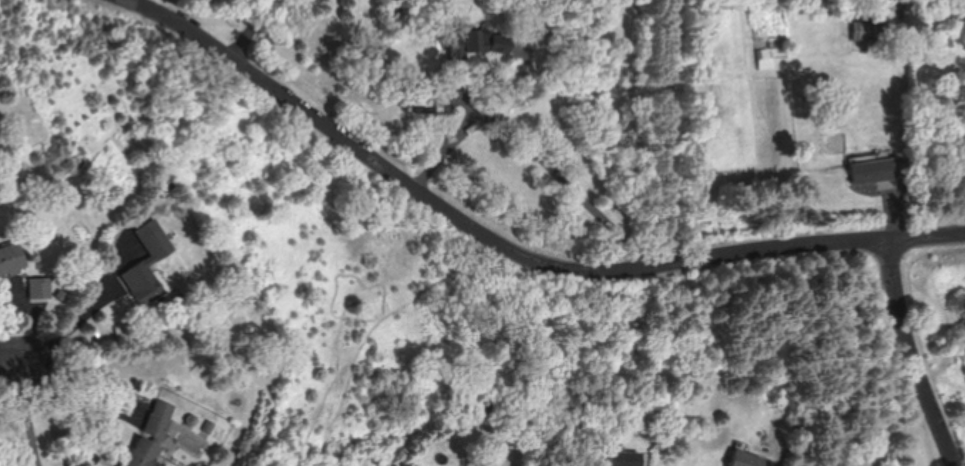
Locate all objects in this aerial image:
road: (245, 28)
building: (869, 29)
building: (476, 41)
building: (767, 57)
road: (667, 134)
road: (532, 153)
building: (874, 169)
road: (511, 246)
building: (11, 257)
building: (145, 281)
building: (38, 286)
road: (78, 320)
road: (14, 348)
road: (916, 354)
road: (30, 407)
building: (158, 418)
building: (140, 453)
building: (626, 458)
building: (748, 458)

